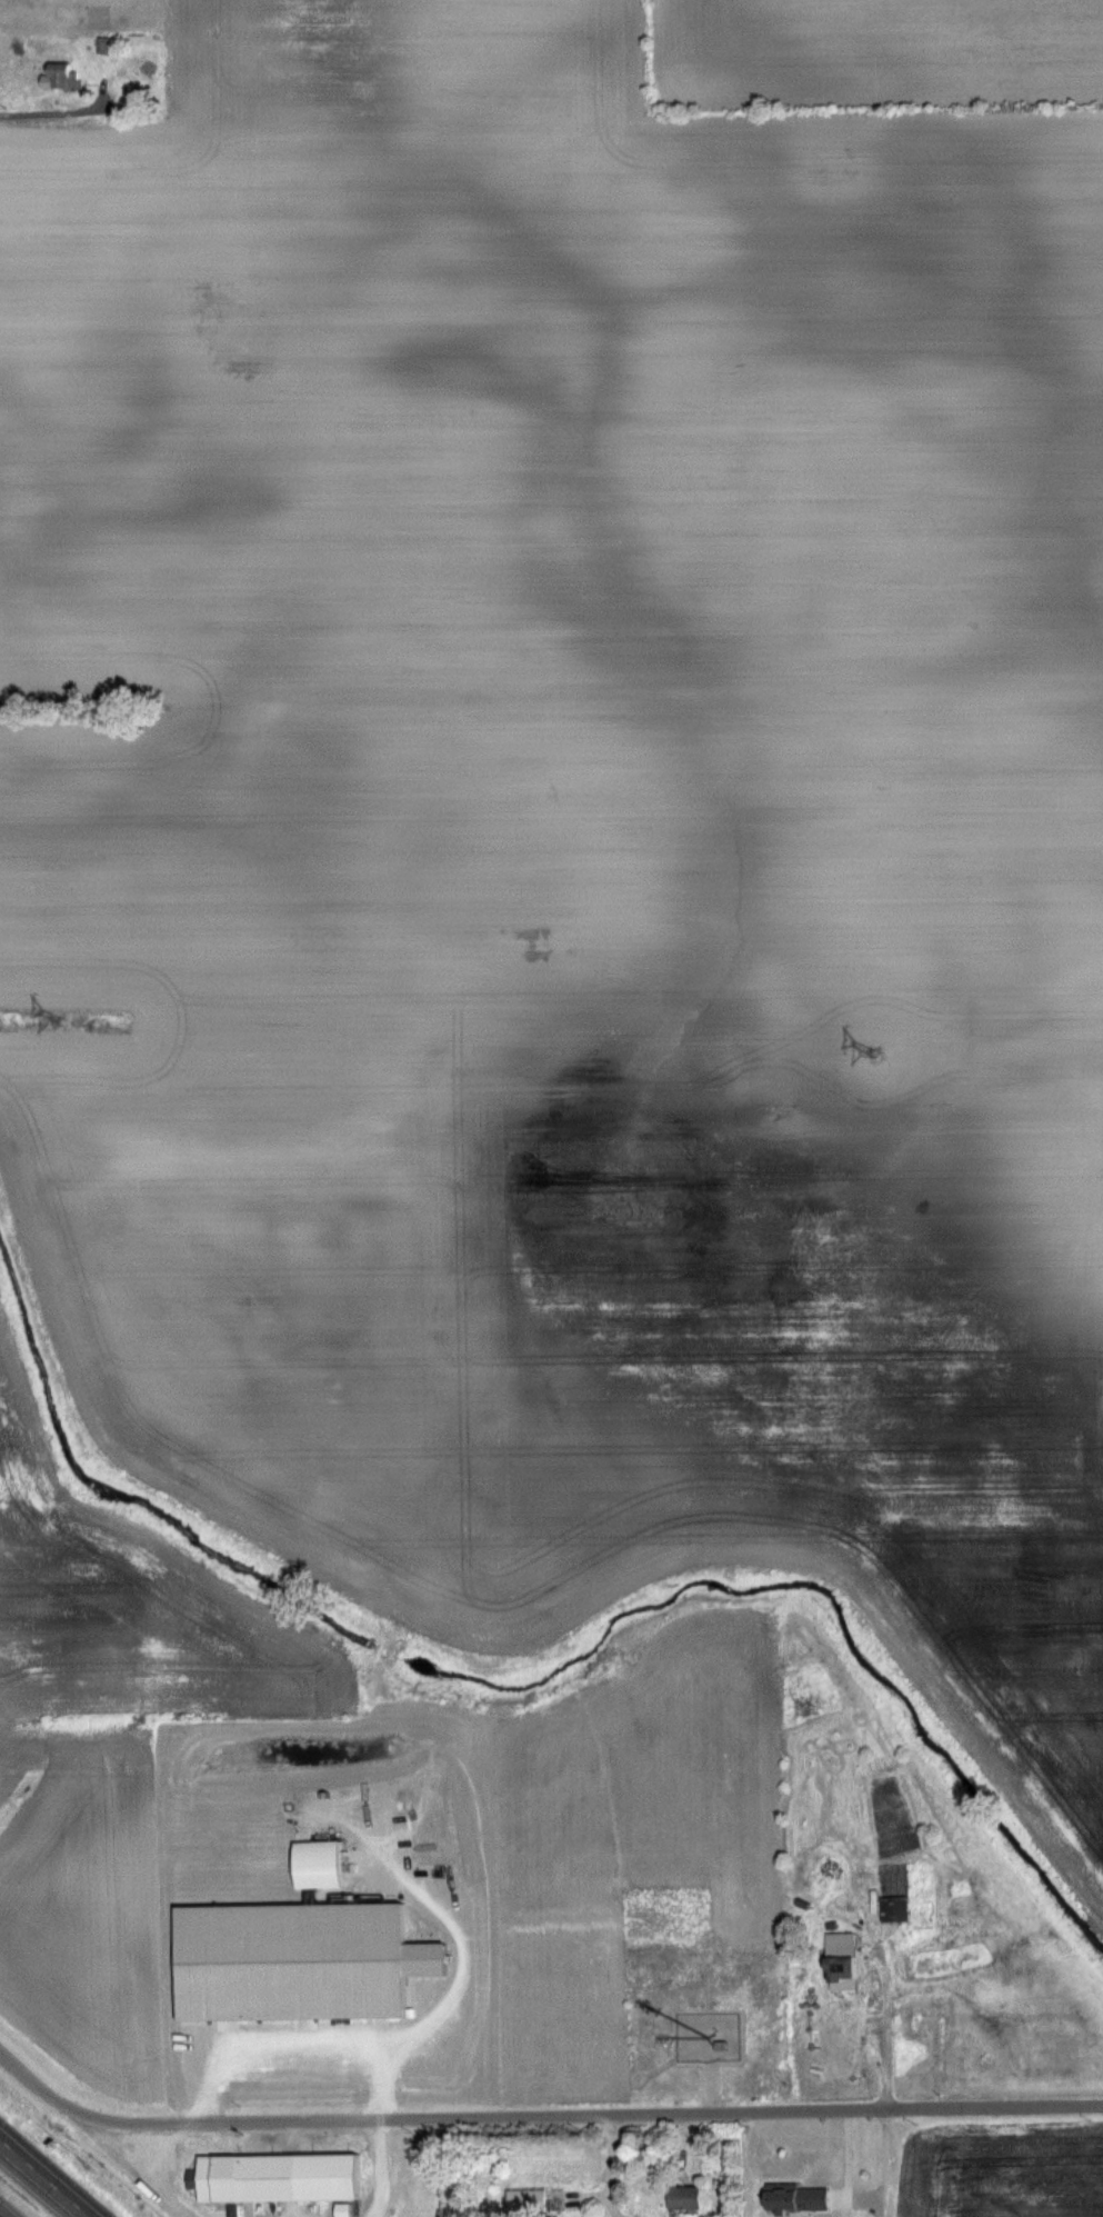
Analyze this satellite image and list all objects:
building: (63, 74)
road: (34, 89)
building: (318, 1864)
building: (893, 1909)
road: (445, 1960)
building: (840, 1960)
road: (888, 2029)
road: (293, 2060)
road: (540, 2116)
building: (278, 2177)
road: (43, 2178)
building: (683, 2196)
building: (795, 2196)
building: (524, 2198)
road: (1, 2215)

